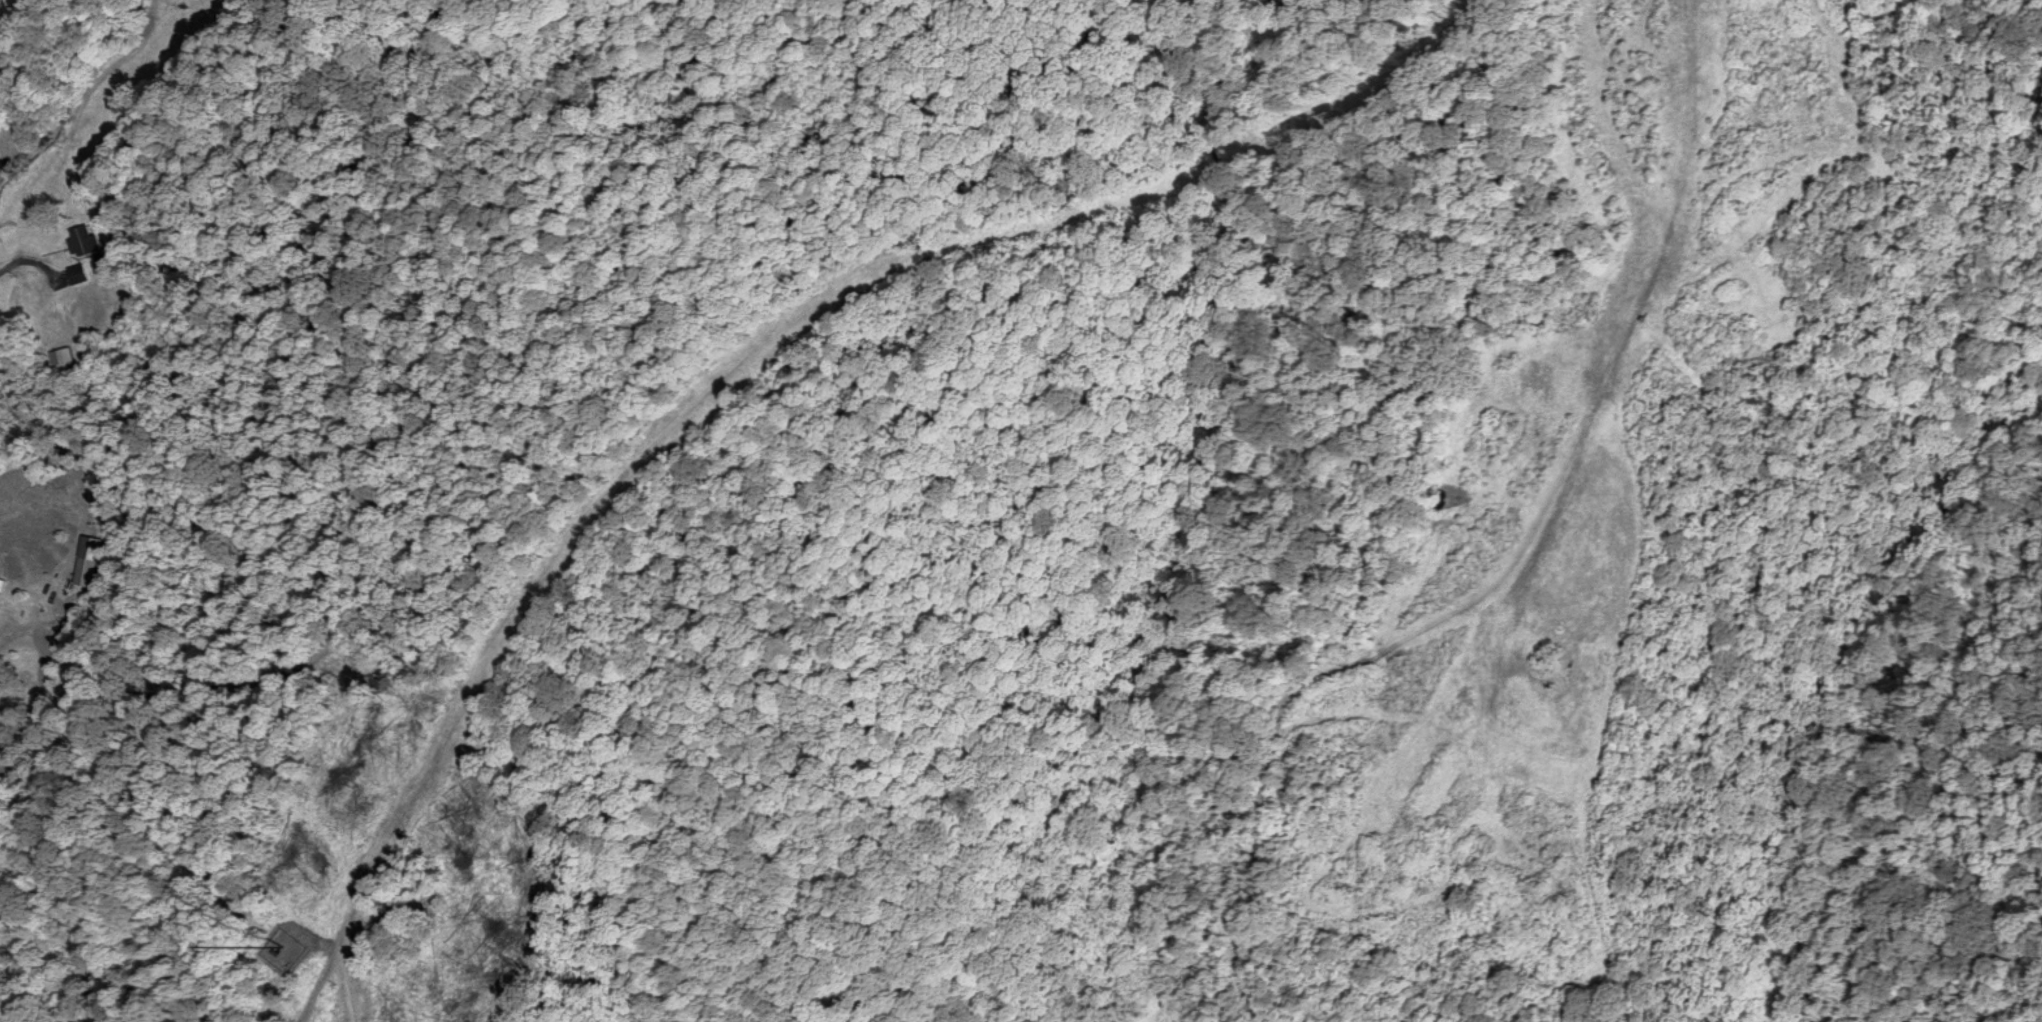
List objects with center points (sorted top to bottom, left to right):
road: (775, 7)
road: (159, 147)
road: (388, 184)
building: (85, 243)
building: (80, 276)
road: (313, 408)
building: (89, 564)

